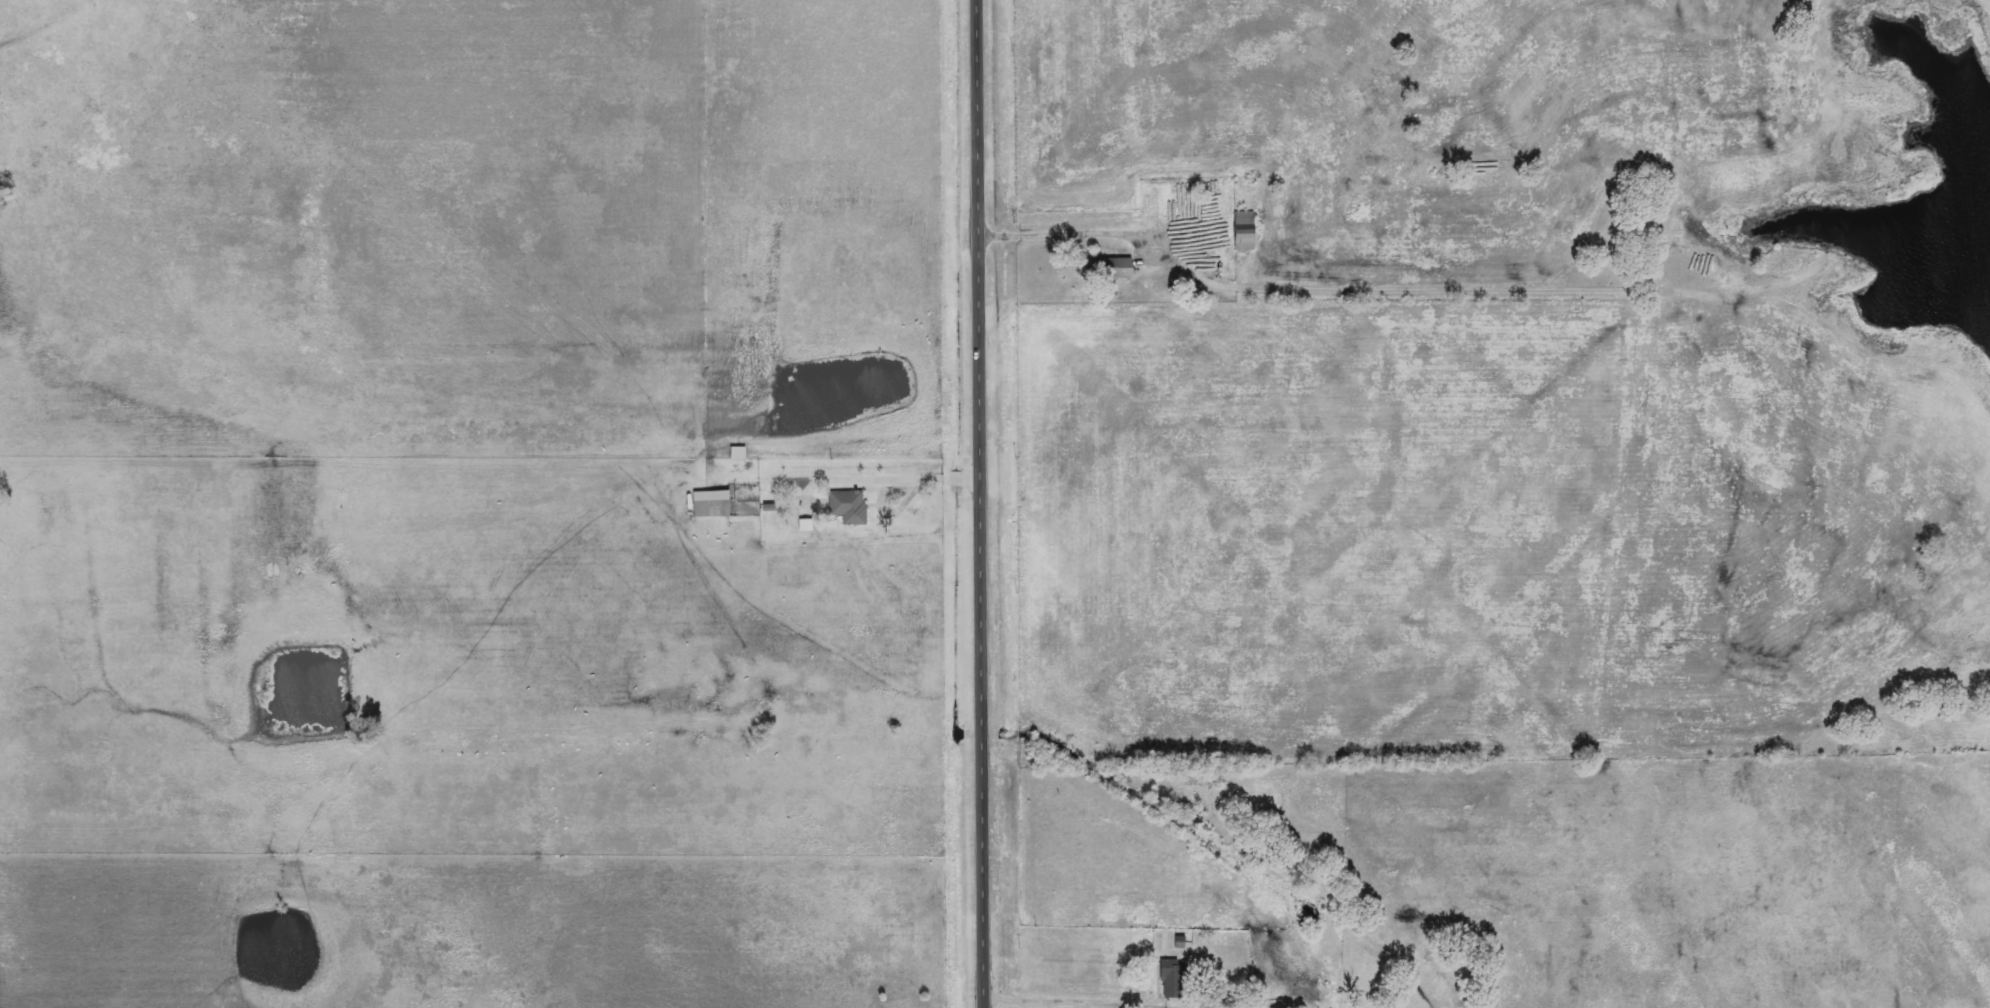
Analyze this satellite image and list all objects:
road: (1077, 235)
building: (1247, 239)
building: (1125, 268)
road: (870, 478)
road: (980, 503)
building: (713, 504)
building: (850, 507)
building: (807, 525)
building: (1174, 980)
road: (1009, 1006)

